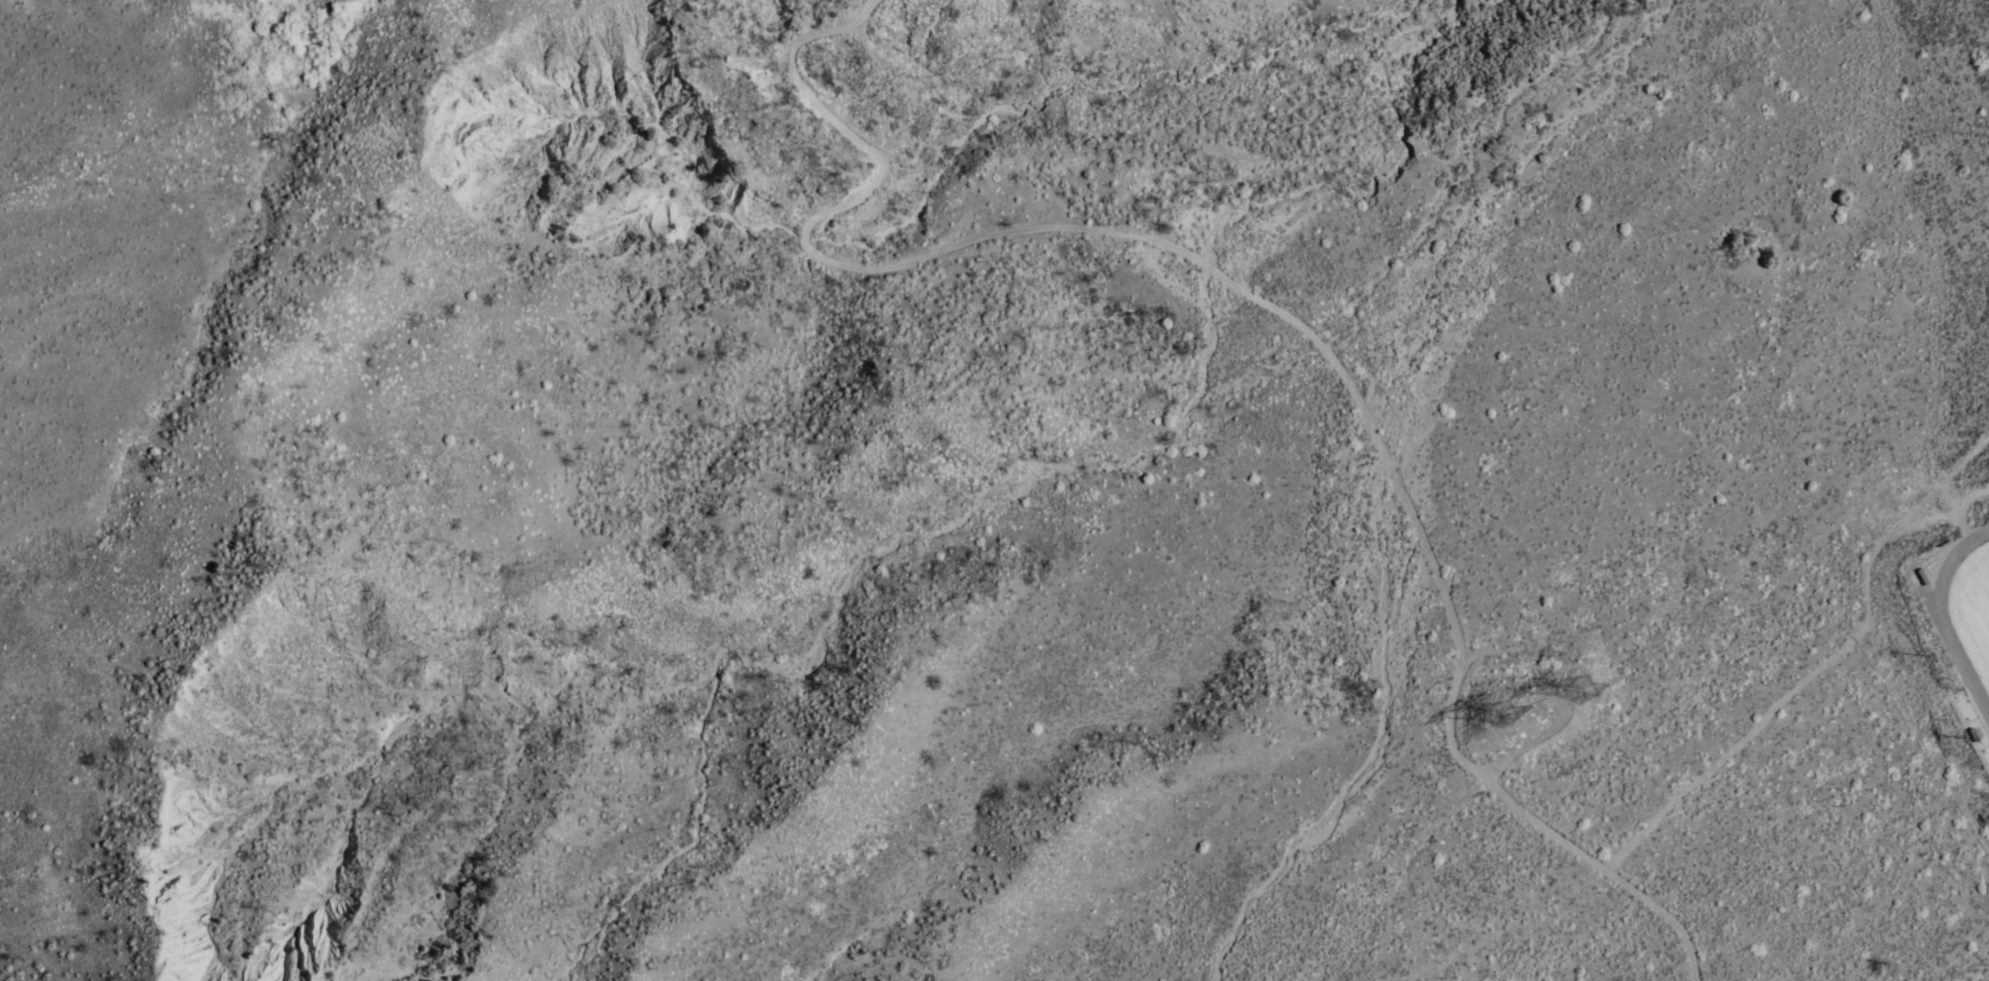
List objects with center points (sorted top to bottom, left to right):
road: (121, 207)
road: (1277, 299)
park: (1977, 634)
track: (1960, 661)
power tower: (1581, 690)
power tower: (1507, 713)
road: (1968, 739)

